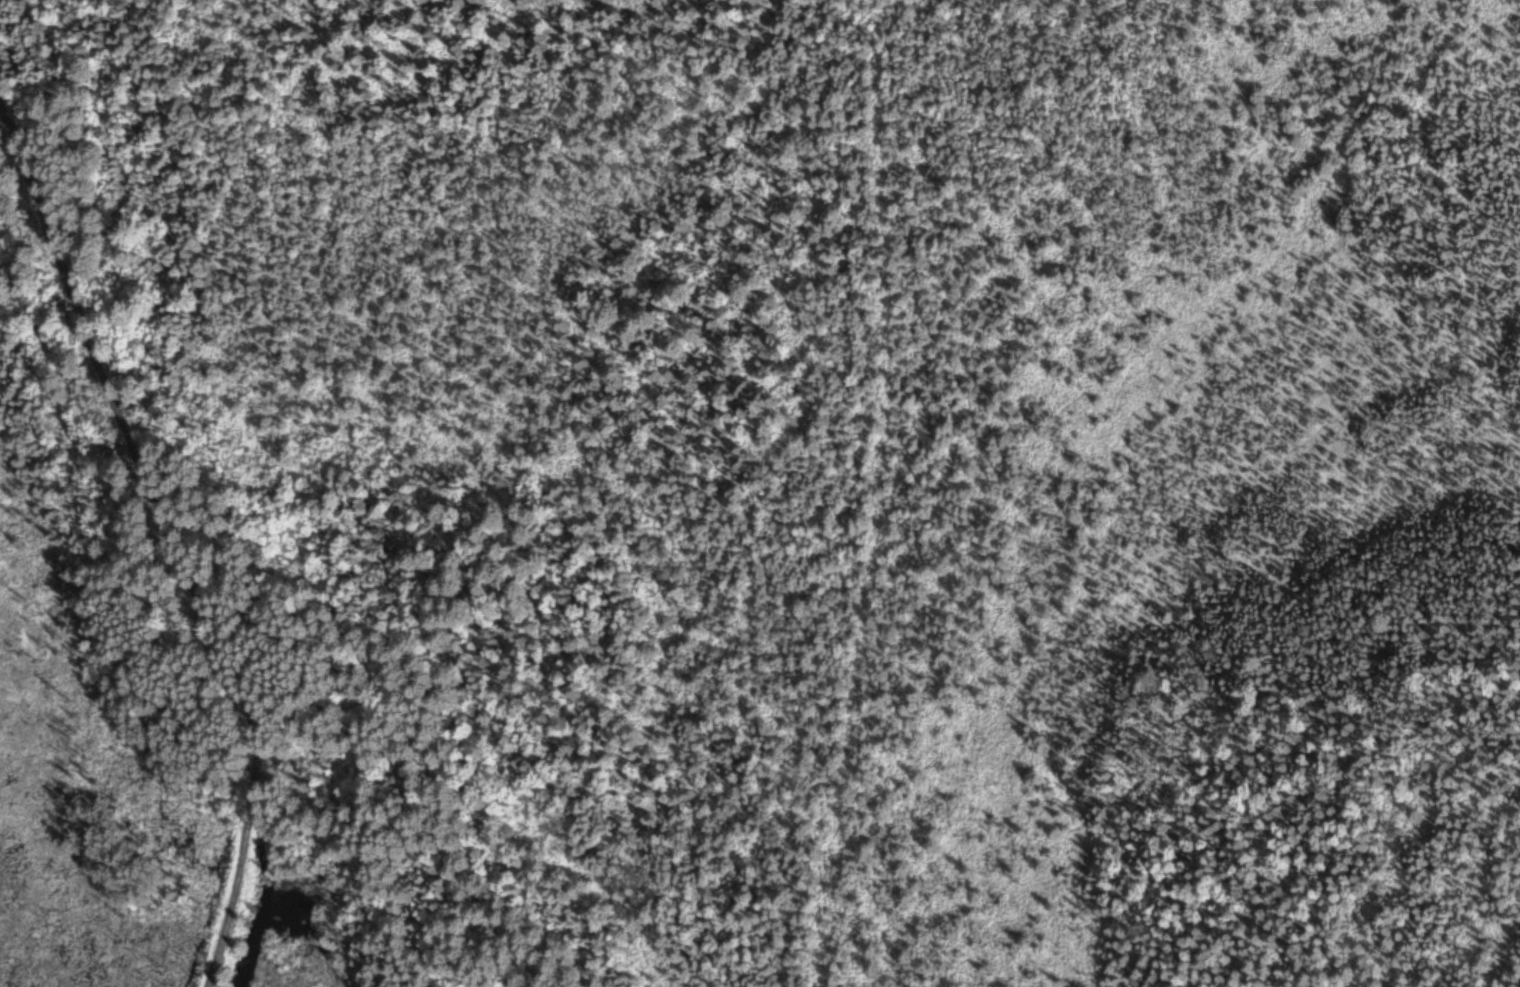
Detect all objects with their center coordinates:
road: (61, 283)

